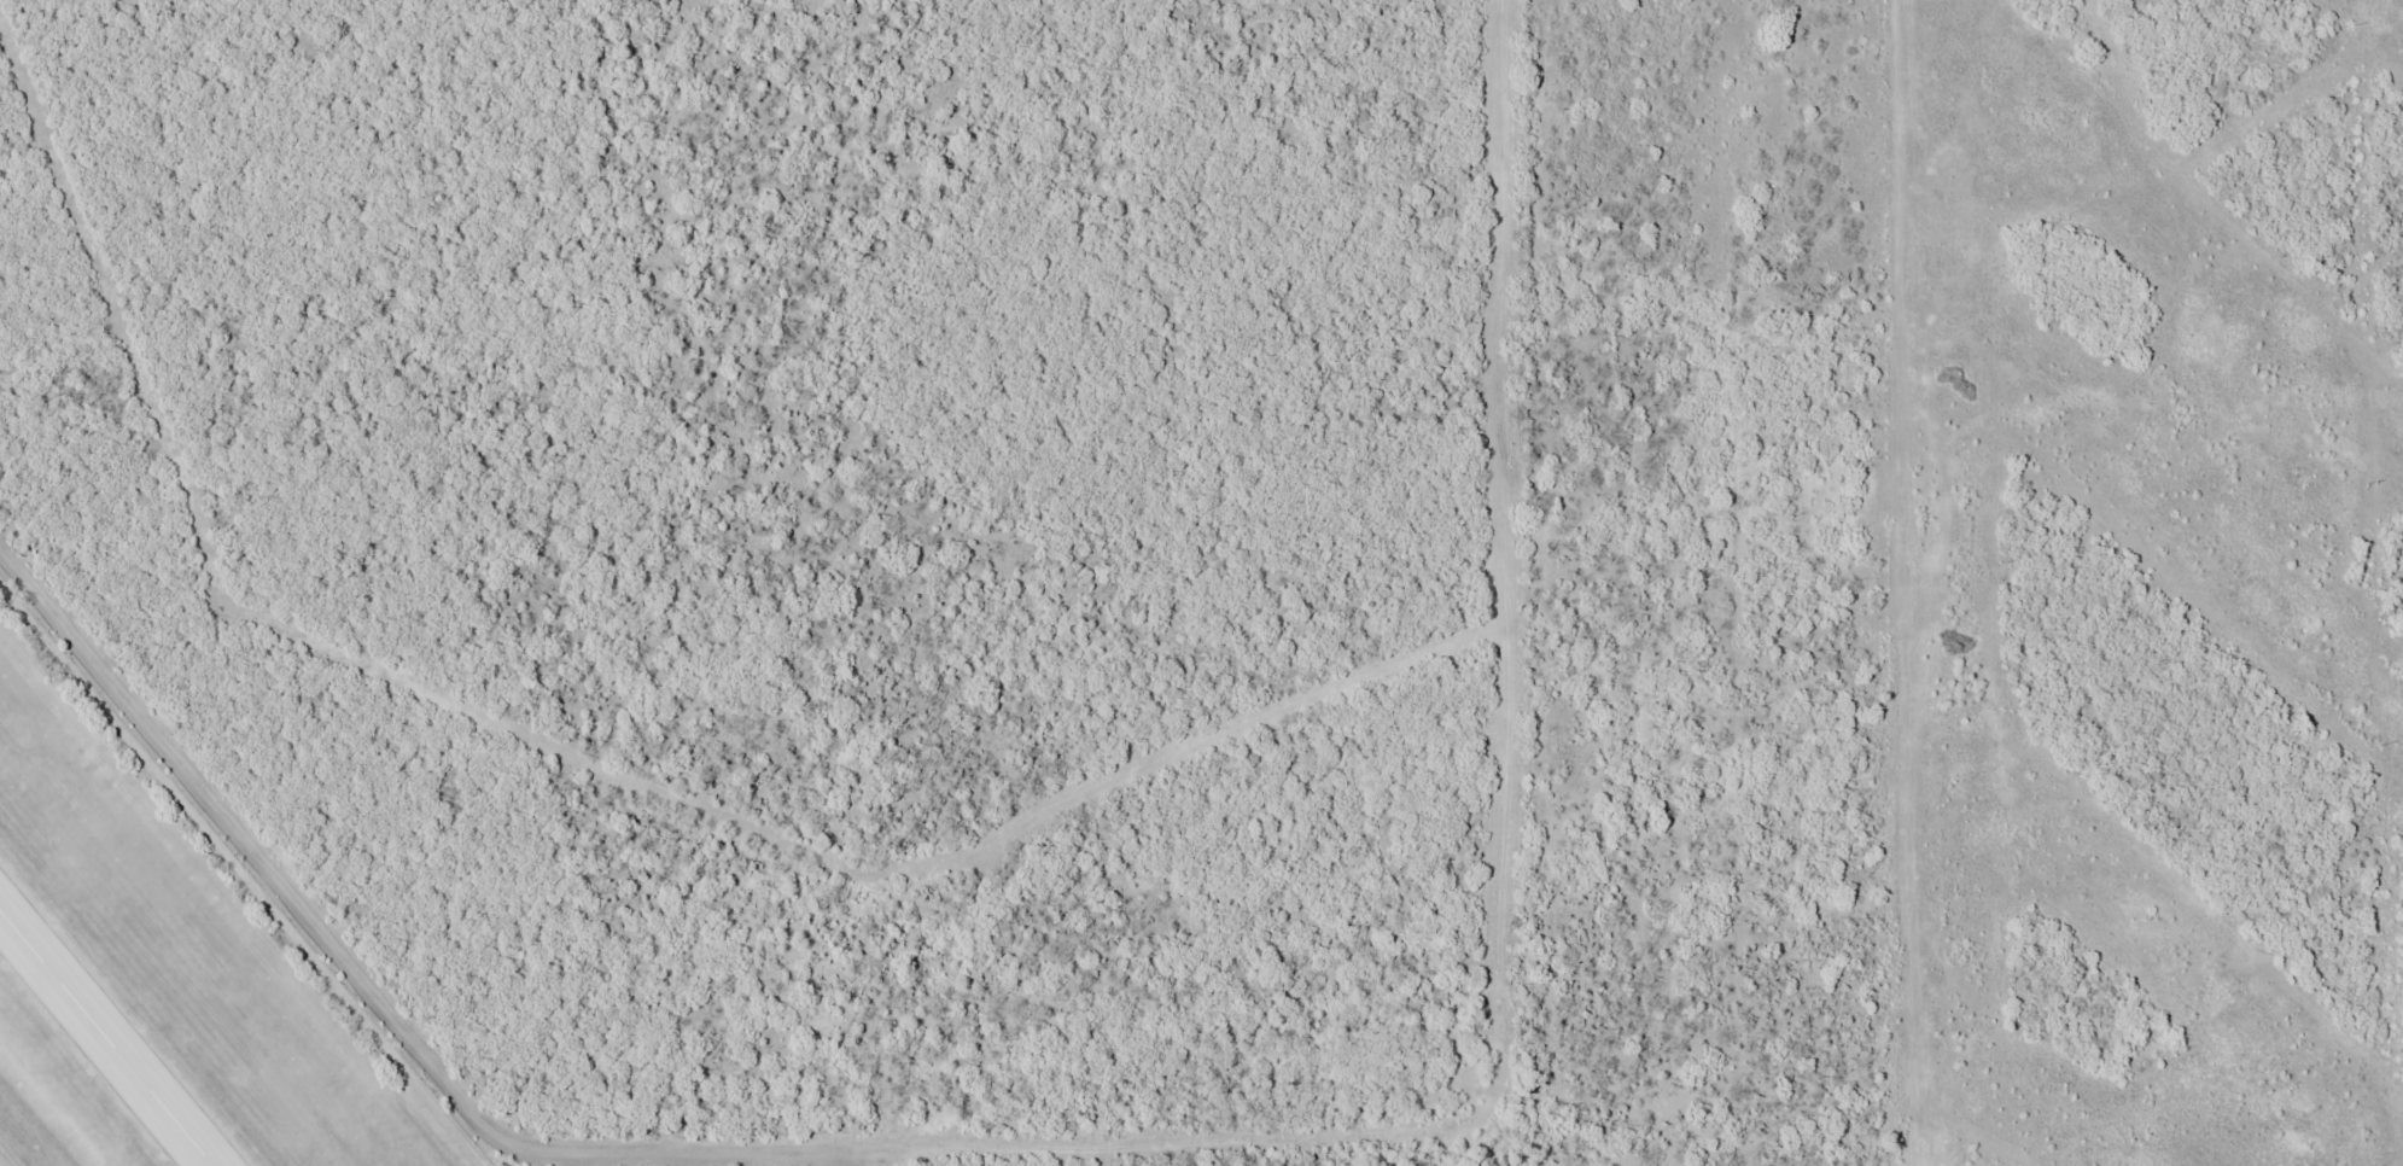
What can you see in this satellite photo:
airport runway: (110, 1033)
airport runway: (107, 1034)
airport taxiway: (1, 1164)

